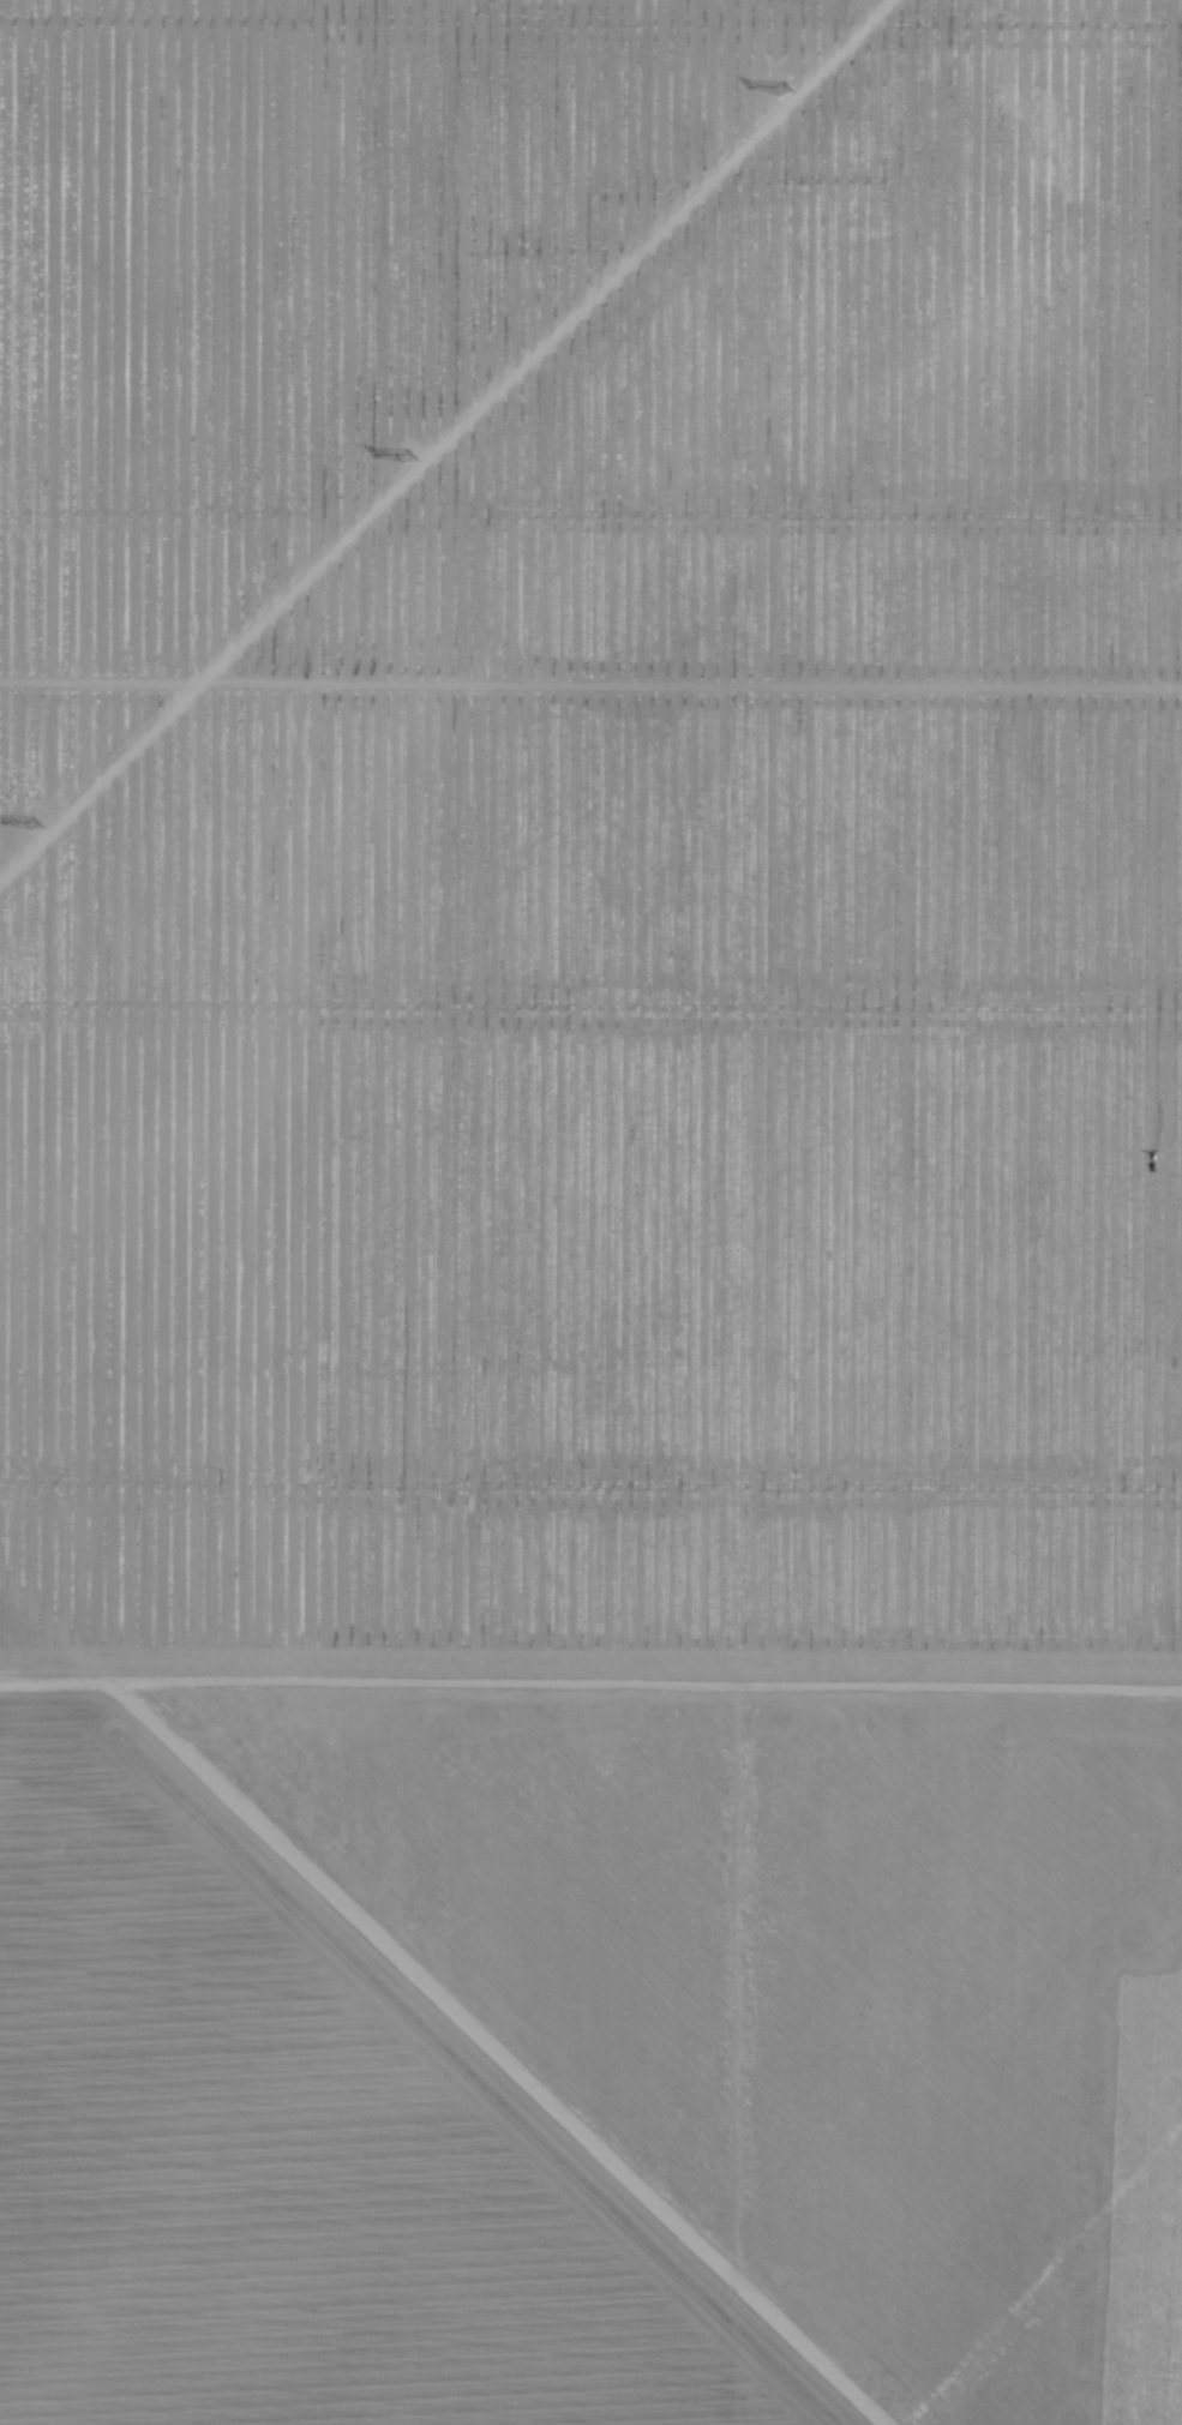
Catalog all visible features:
power tower: (776, 88)
crop: (260, 283)
power tower: (408, 457)
power tower: (31, 821)
crop: (688, 1449)

